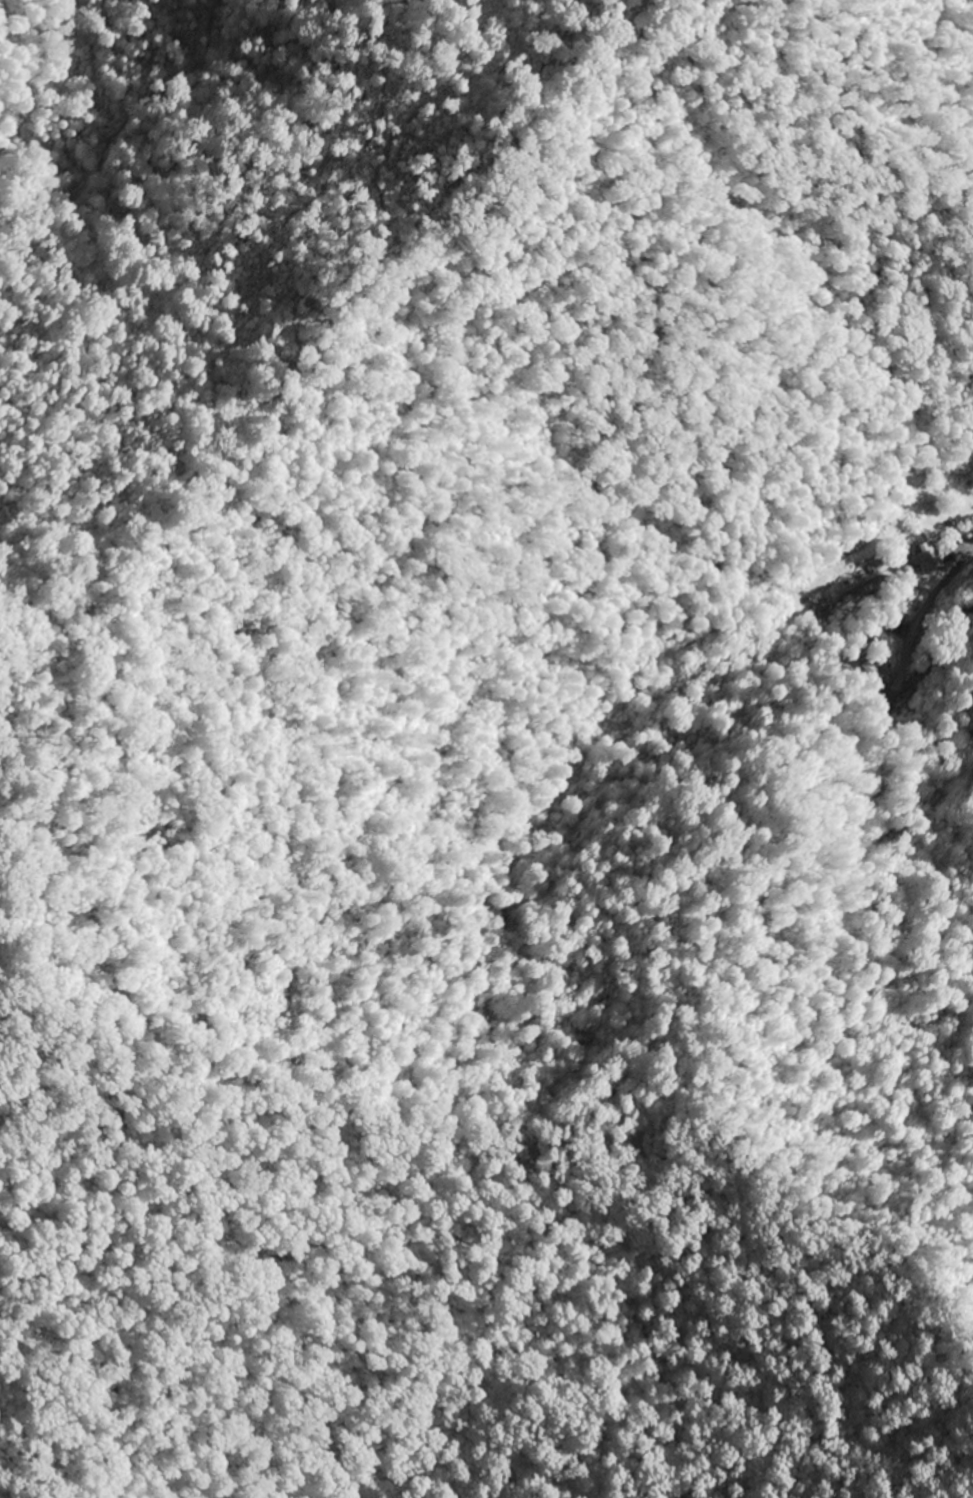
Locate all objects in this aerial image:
building: (925, 558)
road: (928, 601)

